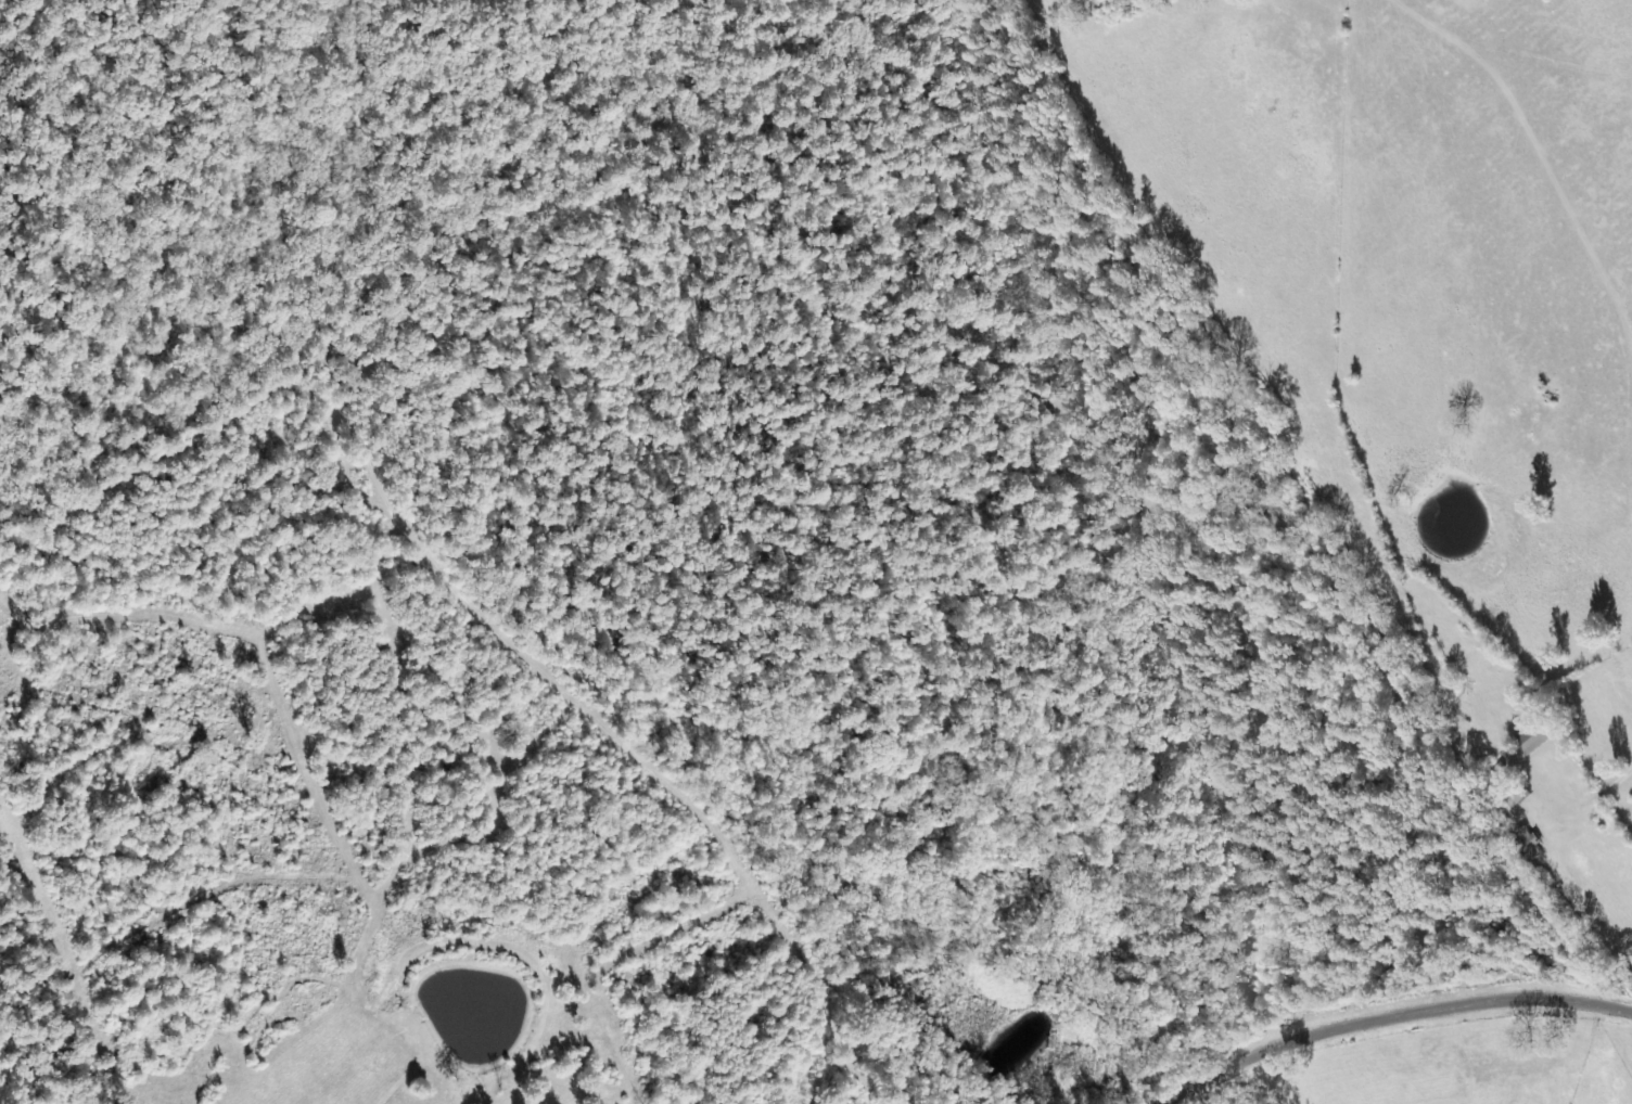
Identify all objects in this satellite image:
building: (1535, 739)
road: (1414, 1024)

